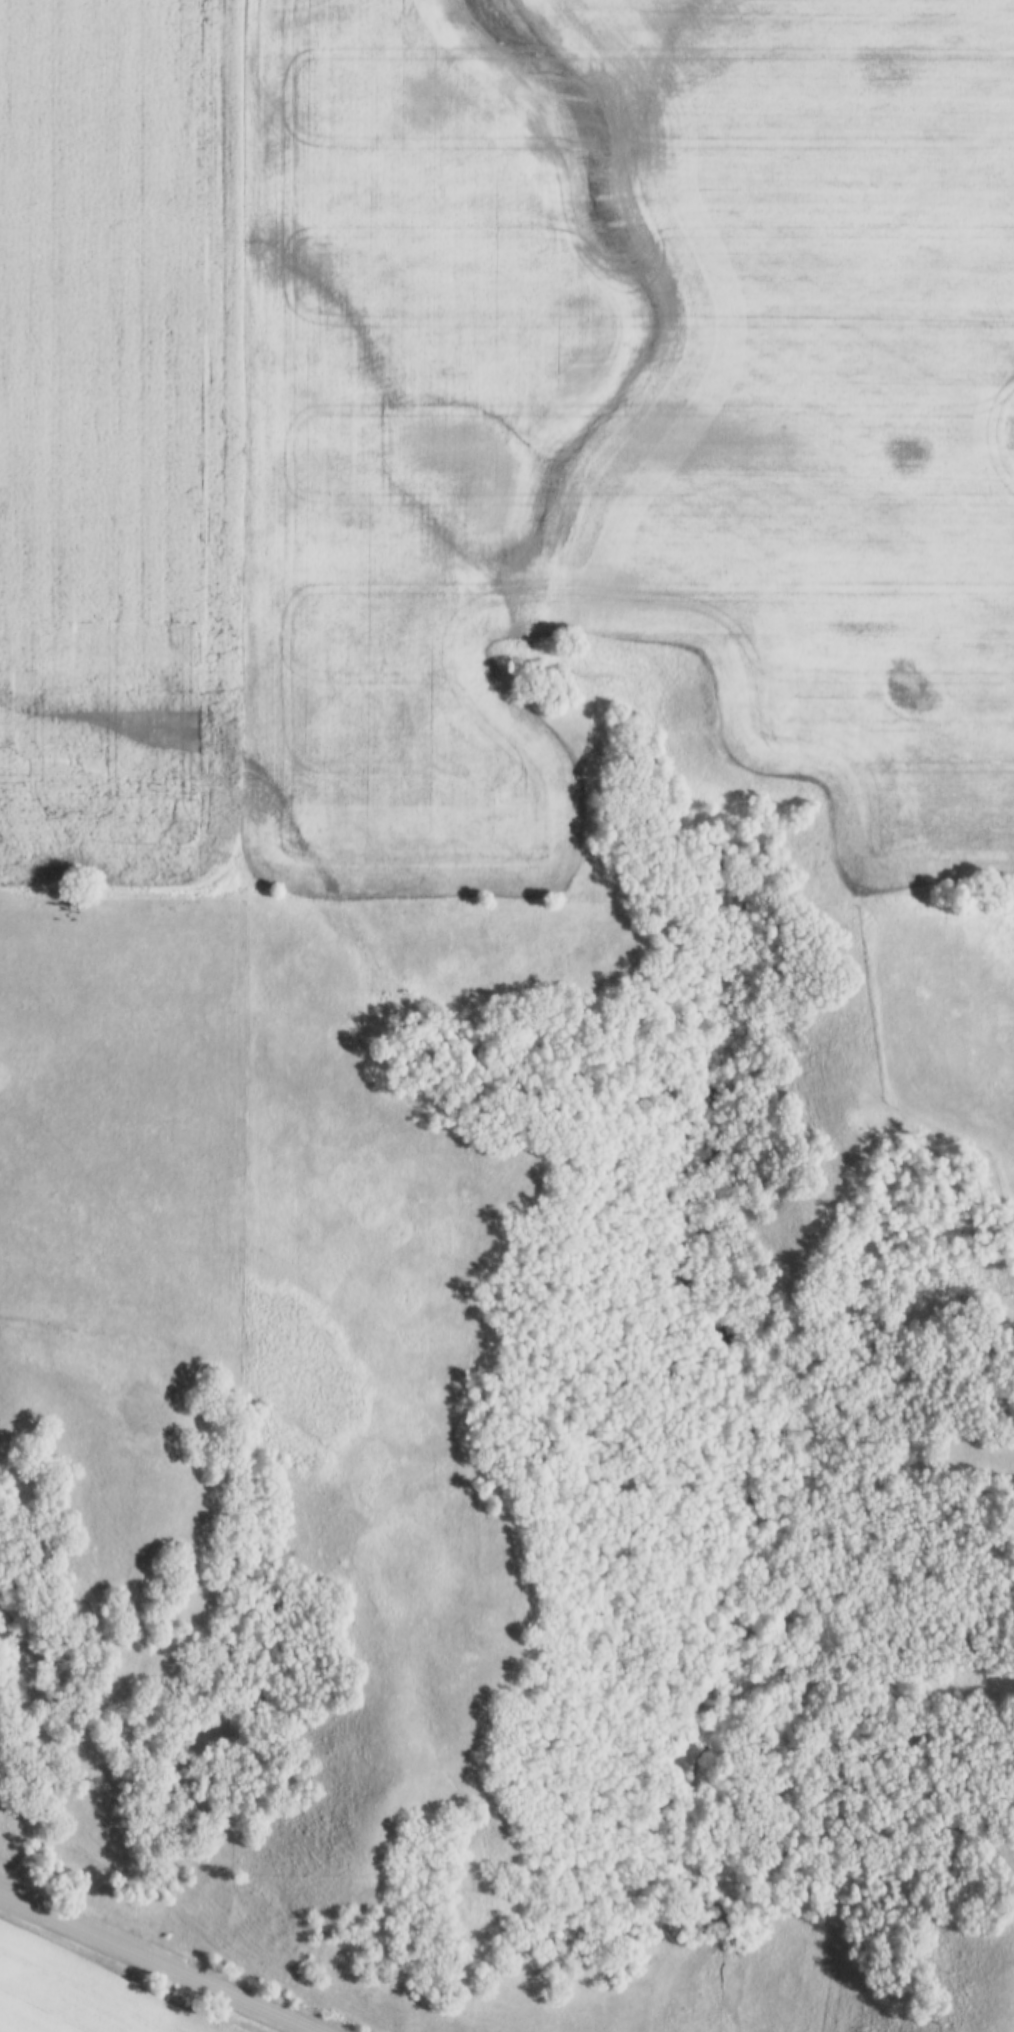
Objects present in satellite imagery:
road: (163, 1962)

